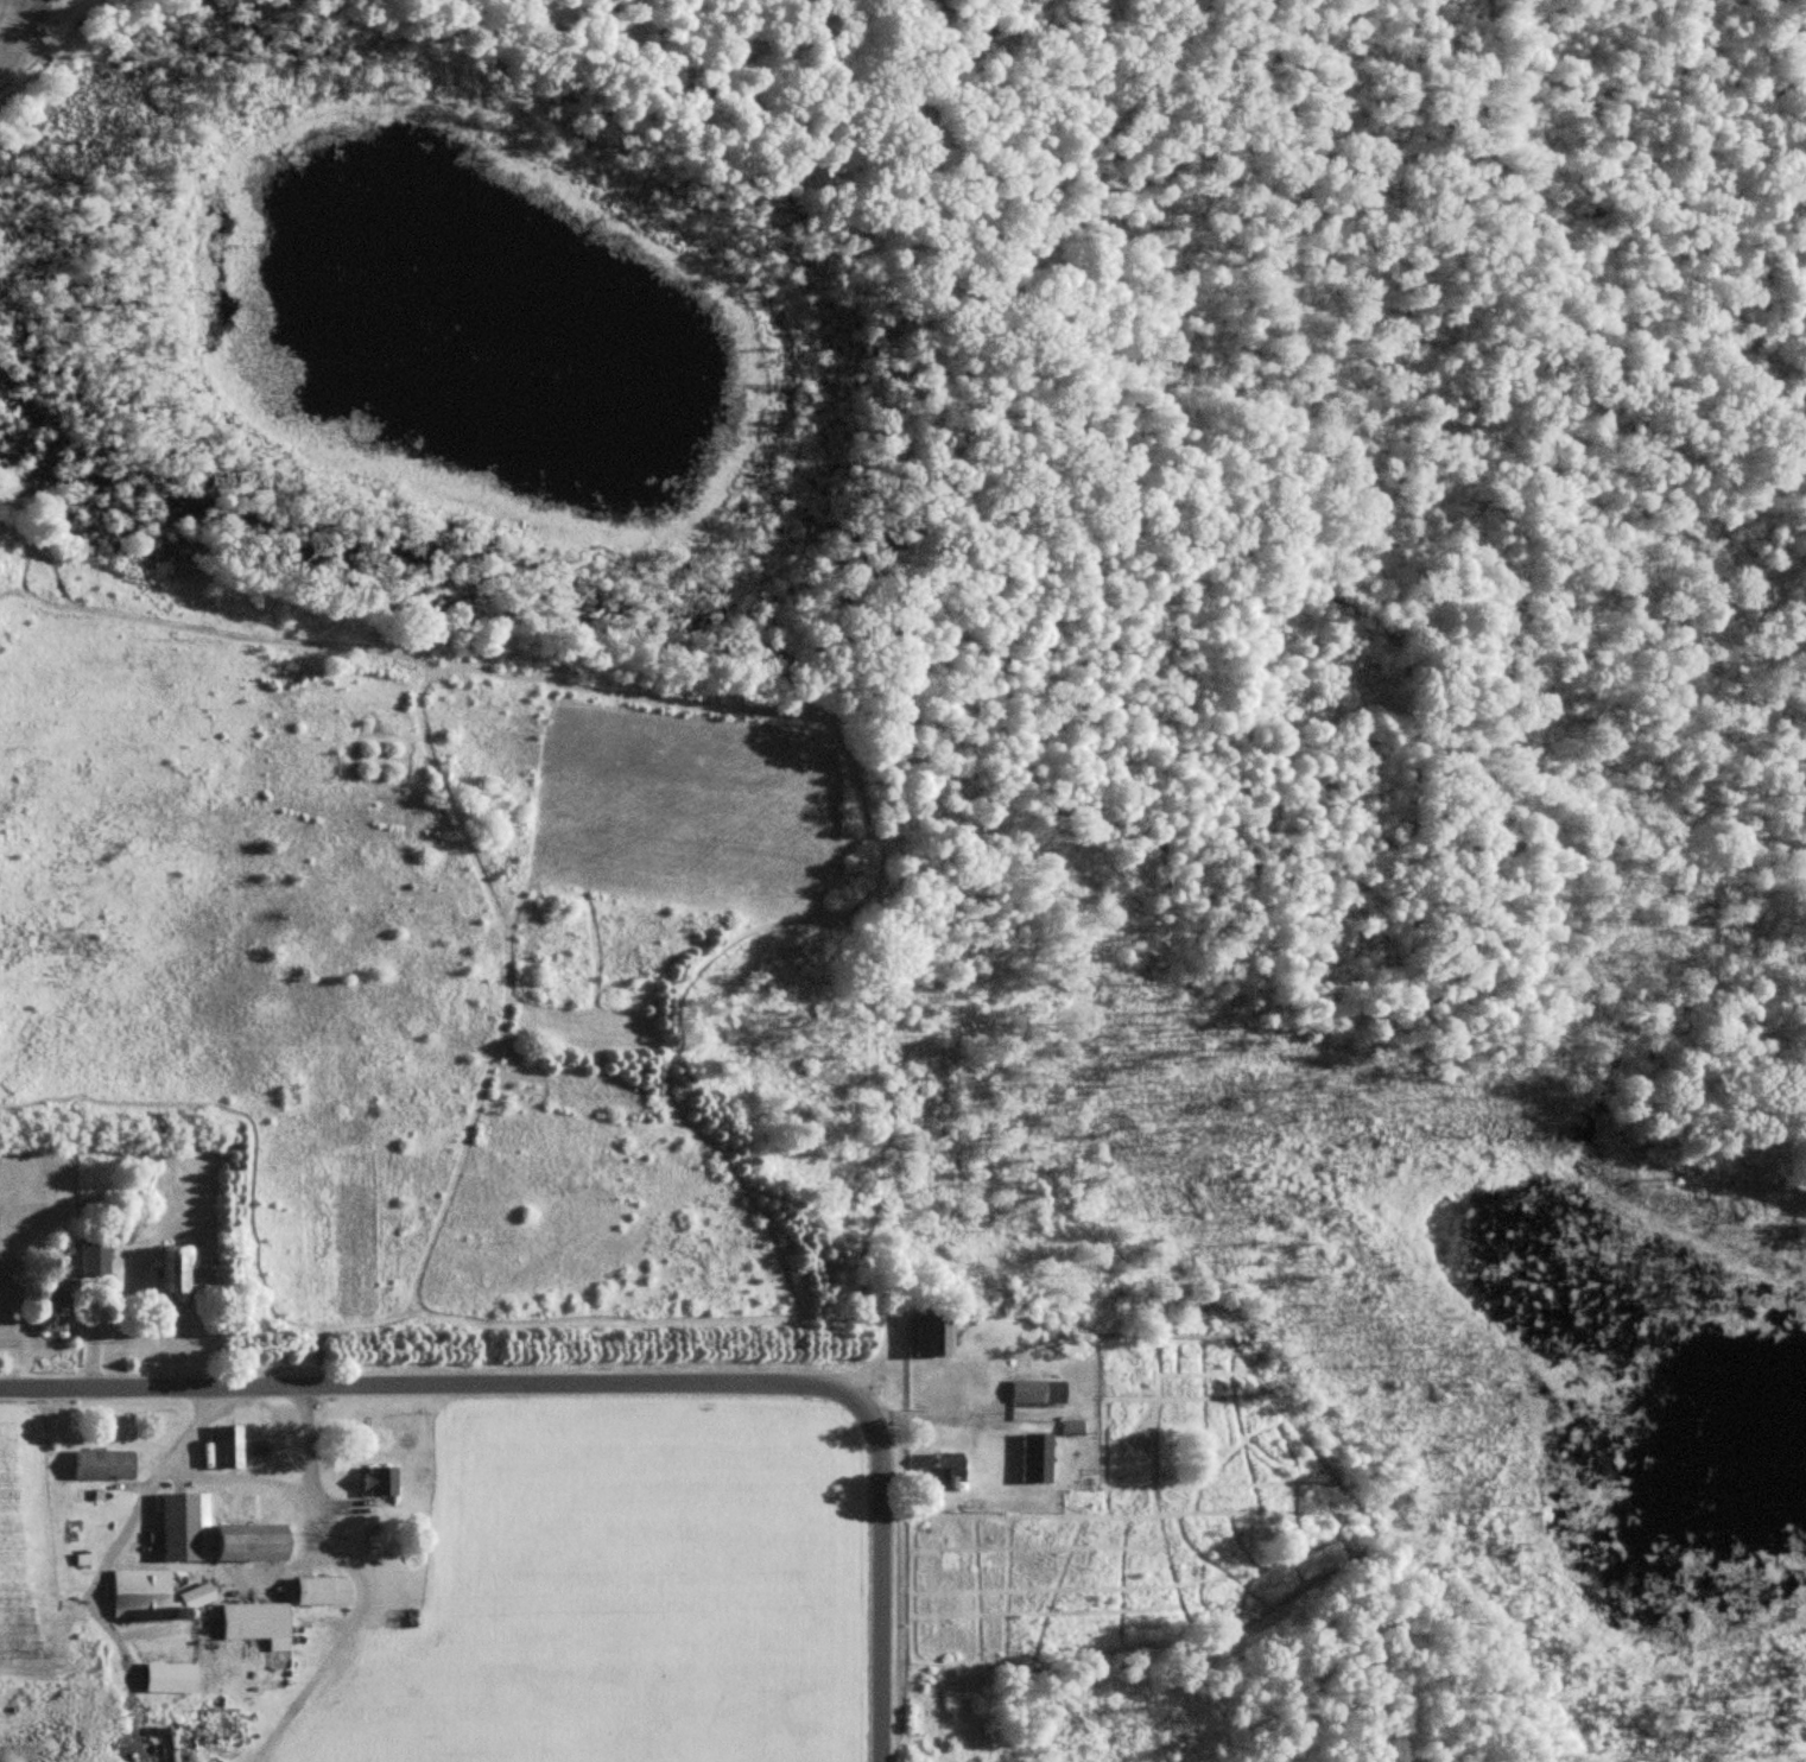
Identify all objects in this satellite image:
building: (139, 1173)
building: (94, 1261)
building: (179, 1275)
building: (55, 1308)
building: (936, 1336)
road: (457, 1387)
building: (1038, 1393)
building: (228, 1445)
building: (1037, 1458)
building: (102, 1464)
building: (949, 1471)
building: (380, 1481)
road: (277, 1485)
road: (134, 1508)
building: (185, 1526)
building: (249, 1541)
building: (323, 1590)
building: (157, 1592)
road: (881, 1605)
building: (258, 1623)
building: (171, 1677)

